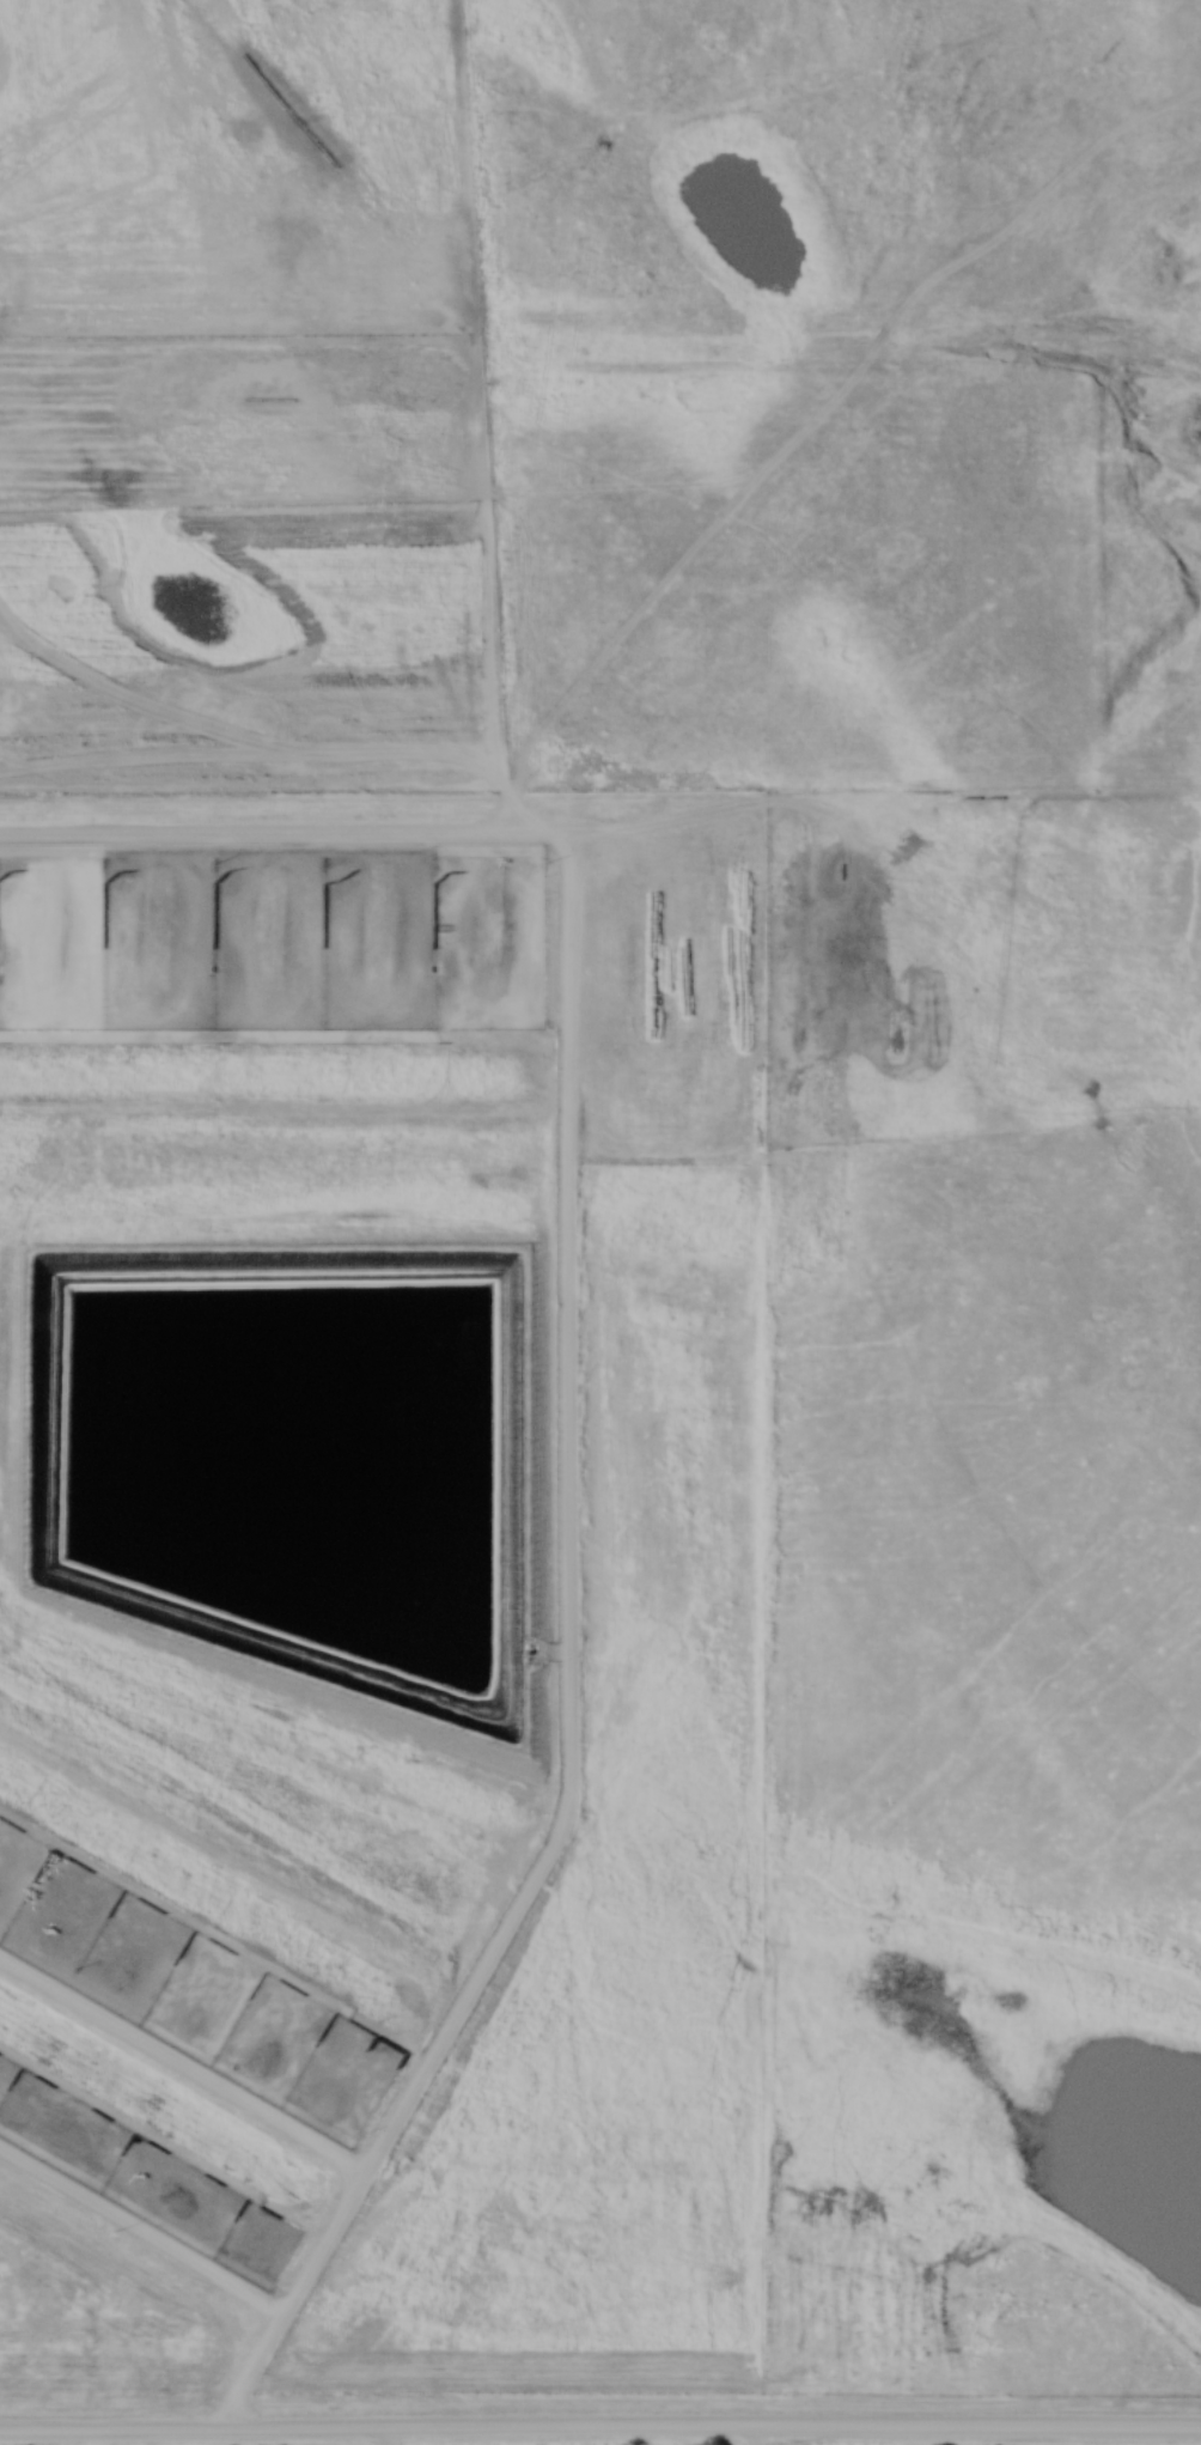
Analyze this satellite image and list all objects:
road: (600, 2417)

